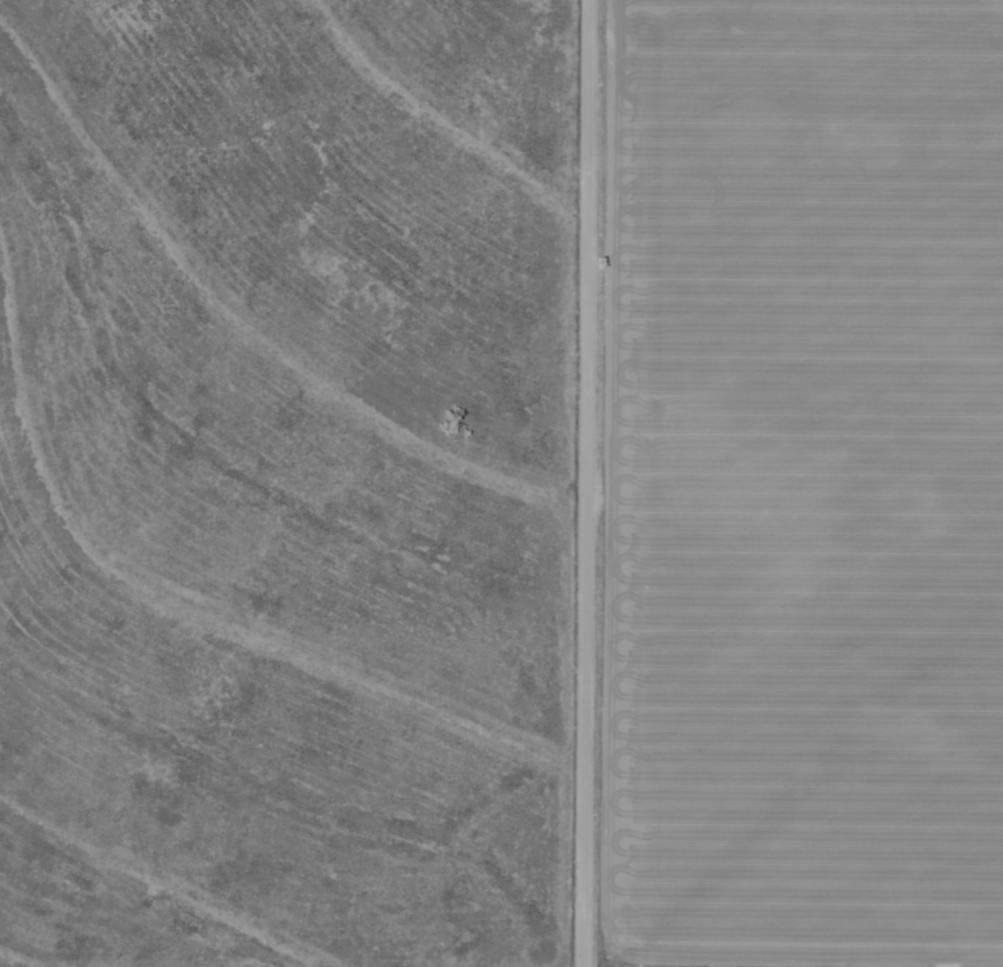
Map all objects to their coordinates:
road: (634, 483)

